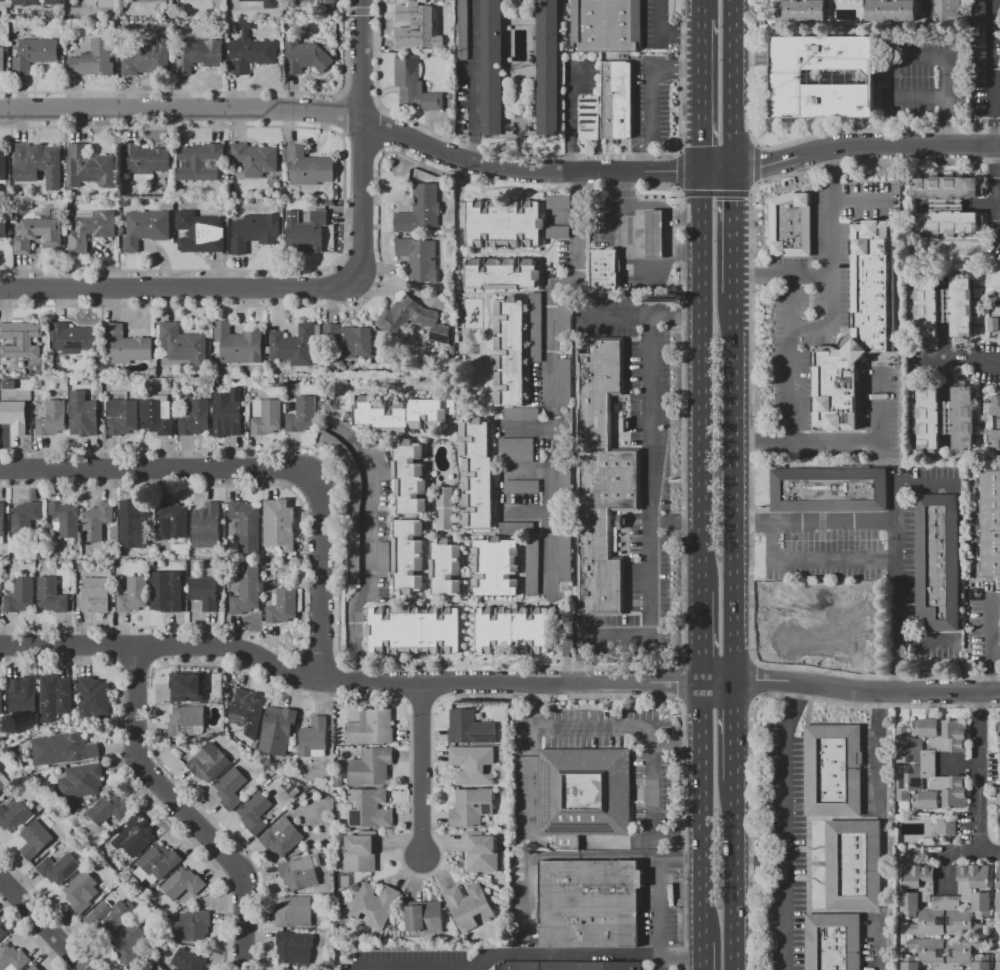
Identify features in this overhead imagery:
building: (1, 1)
building: (161, 1)
building: (52, 2)
building: (326, 2)
building: (25, 3)
building: (266, 3)
road: (927, 7)
road: (701, 9)
building: (801, 11)
building: (891, 11)
building: (948, 11)
building: (167, 13)
building: (421, 24)
building: (111, 25)
building: (606, 26)
parking lot: (655, 26)
building: (461, 30)
road: (663, 33)
building: (251, 51)
building: (34, 55)
building: (199, 55)
building: (399, 56)
building: (304, 57)
building: (416, 57)
building: (147, 58)
building: (2, 60)
building: (93, 60)
building: (491, 67)
building: (547, 67)
parking lot: (924, 76)
road: (945, 76)
building: (822, 77)
road: (473, 81)
road: (732, 86)
building: (414, 88)
road: (701, 96)
road: (914, 97)
road: (651, 98)
building: (616, 100)
parking lot: (649, 105)
road: (182, 111)
road: (995, 116)
building: (589, 118)
road: (570, 121)
road: (805, 138)
road: (361, 141)
road: (864, 146)
traffic signals: (701, 147)
road: (547, 156)
building: (39, 160)
building: (258, 160)
building: (148, 162)
building: (202, 163)
building: (4, 165)
traffic signals: (761, 167)
building: (91, 169)
building: (311, 169)
road: (676, 172)
road: (542, 174)
traffic signals: (676, 174)
building: (946, 187)
traffic signals: (732, 201)
road: (858, 201)
building: (602, 203)
building: (560, 204)
building: (946, 205)
road: (665, 209)
building: (422, 211)
building: (947, 223)
building: (506, 225)
building: (790, 225)
building: (4, 229)
building: (149, 230)
building: (93, 231)
building: (258, 233)
road: (732, 233)
building: (201, 234)
building: (308, 234)
building: (560, 234)
building: (41, 235)
building: (655, 235)
gas station: (634, 242)
road: (686, 252)
building: (421, 260)
road: (634, 260)
building: (607, 273)
road: (810, 274)
building: (504, 275)
road: (180, 290)
building: (944, 307)
road: (829, 311)
road: (640, 316)
building: (567, 319)
building: (416, 321)
building: (992, 325)
building: (857, 326)
building: (537, 329)
parking lot: (828, 332)
building: (76, 340)
building: (22, 341)
building: (352, 343)
building: (186, 346)
building: (240, 346)
building: (298, 346)
building: (129, 347)
building: (512, 353)
road: (972, 361)
building: (567, 383)
road: (700, 383)
building: (993, 407)
road: (792, 414)
building: (523, 415)
building: (88, 416)
building: (124, 416)
building: (404, 416)
building: (16, 417)
building: (159, 417)
building: (304, 417)
building: (230, 418)
building: (269, 418)
building: (944, 418)
building: (962, 418)
building: (54, 420)
building: (198, 420)
building: (926, 420)
road: (751, 423)
road: (556, 425)
road: (871, 440)
building: (993, 440)
building: (518, 452)
road: (682, 456)
building: (384, 464)
road: (158, 472)
building: (479, 476)
building: (412, 479)
building: (602, 479)
building: (567, 483)
building: (524, 488)
road: (733, 489)
building: (828, 490)
building: (352, 507)
building: (448, 510)
building: (175, 520)
building: (28, 521)
road: (813, 521)
building: (66, 522)
building: (100, 522)
road: (674, 522)
building: (990, 523)
building: (3, 524)
building: (137, 525)
building: (282, 526)
building: (249, 527)
building: (209, 528)
building: (519, 530)
road: (649, 535)
road: (369, 549)
parking lot: (866, 553)
road: (895, 557)
building: (411, 558)
building: (567, 560)
road: (815, 560)
building: (385, 561)
building: (937, 561)
building: (534, 567)
building: (497, 568)
building: (448, 569)
road: (317, 575)
building: (120, 585)
road: (810, 589)
building: (249, 592)
building: (169, 593)
building: (206, 593)
building: (97, 596)
building: (136, 596)
building: (22, 597)
building: (53, 597)
road: (771, 601)
road: (781, 601)
road: (811, 601)
building: (813, 605)
road: (853, 606)
building: (284, 607)
building: (795, 615)
gas station: (819, 625)
road: (825, 629)
building: (416, 632)
building: (515, 632)
road: (785, 637)
road: (700, 639)
road: (930, 640)
building: (825, 641)
road: (990, 645)
road: (161, 648)
road: (857, 655)
road: (751, 681)
road: (674, 682)
road: (525, 686)
building: (191, 689)
road: (866, 691)
building: (56, 697)
building: (23, 699)
building: (2, 700)
building: (95, 700)
road: (750, 712)
building: (249, 713)
building: (189, 723)
building: (373, 729)
building: (472, 730)
building: (999, 731)
road: (733, 733)
building: (943, 734)
building: (280, 735)
building: (316, 740)
building: (65, 750)
road: (682, 751)
building: (999, 755)
building: (211, 764)
building: (912, 764)
building: (475, 766)
building: (373, 768)
road: (653, 770)
building: (832, 771)
road: (419, 773)
parking lot: (652, 773)
building: (4, 782)
road: (980, 782)
building: (82, 783)
building: (340, 783)
building: (233, 790)
building: (927, 793)
building: (584, 794)
building: (998, 802)
building: (474, 809)
road: (182, 810)
building: (372, 811)
building: (110, 812)
road: (698, 813)
building: (257, 814)
building: (16, 818)
road: (785, 824)
building: (946, 829)
building: (999, 830)
building: (140, 837)
building: (285, 839)
building: (37, 841)
road: (557, 841)
parking lot: (785, 851)
road: (948, 852)
building: (363, 854)
building: (483, 854)
road: (679, 860)
building: (158, 865)
building: (853, 865)
building: (61, 870)
building: (302, 874)
road: (733, 875)
building: (998, 876)
park: (345, 882)
building: (185, 885)
building: (916, 888)
building: (965, 891)
building: (82, 893)
building: (589, 904)
parking lot: (659, 904)
building: (997, 905)
building: (377, 907)
building: (471, 907)
building: (296, 913)
building: (425, 918)
building: (112, 919)
building: (946, 919)
road: (41, 925)
building: (194, 928)
building: (2, 931)
building: (833, 942)
road: (878, 942)
building: (130, 944)
building: (297, 949)
building: (946, 952)
road: (583, 954)
road: (696, 955)
building: (13, 959)
building: (189, 961)
parking lot: (407, 961)
building: (909, 962)
building: (982, 962)
building: (998, 963)
building: (569, 966)
parking lot: (661, 967)
building: (29, 968)
building: (35, 968)
building: (288, 969)

